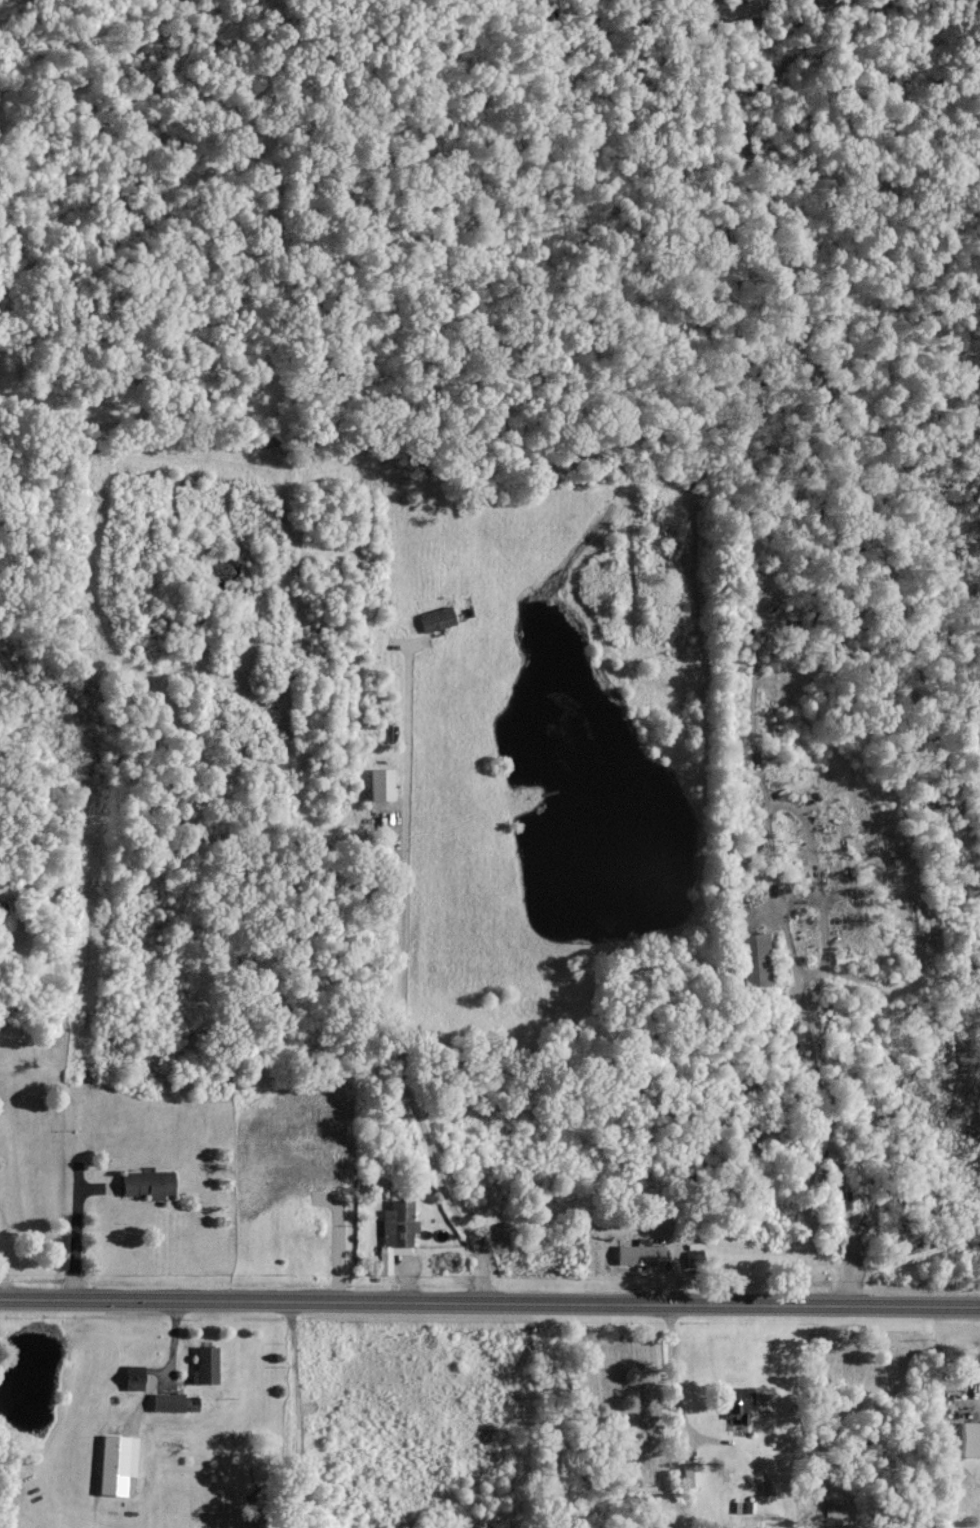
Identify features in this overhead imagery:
road: (734, 13)
road: (837, 445)
building: (438, 618)
building: (383, 784)
road: (405, 980)
road: (823, 1104)
building: (150, 1183)
building: (397, 1232)
road: (76, 1233)
building: (642, 1253)
road: (4, 1278)
road: (489, 1300)
building: (207, 1364)
road: (167, 1366)
building: (136, 1376)
building: (171, 1401)
building: (739, 1405)
building: (972, 1437)
building: (119, 1463)
building: (693, 1473)
building: (745, 1506)

